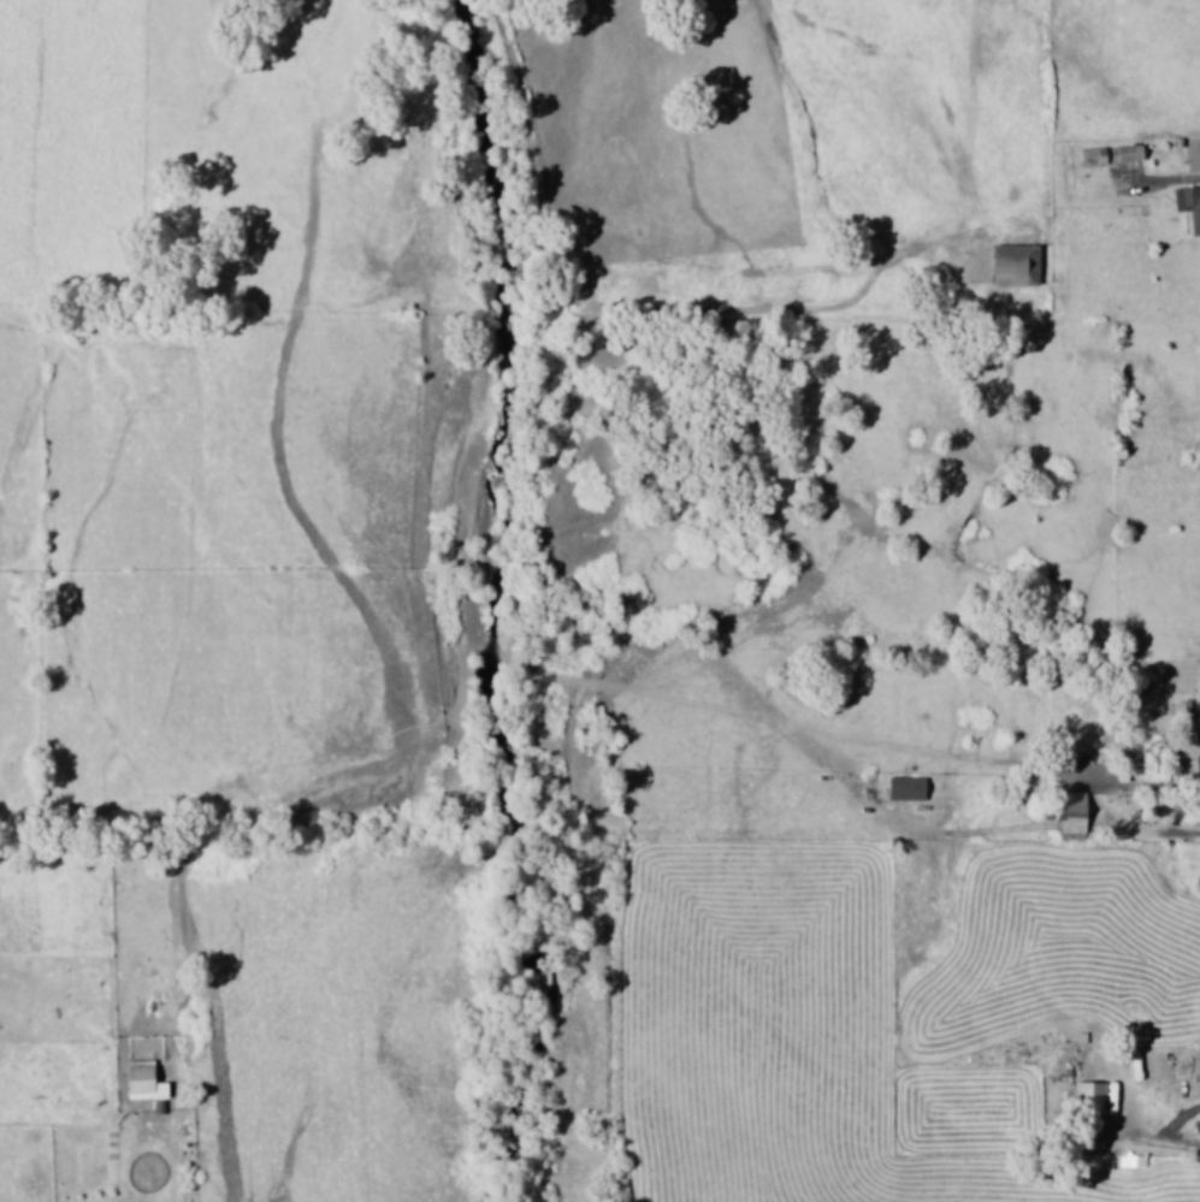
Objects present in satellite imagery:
building: (1128, 154)
building: (1093, 158)
building: (1189, 206)
building: (1017, 266)
building: (1198, 751)
building: (908, 789)
building: (1072, 817)
building: (1133, 1161)

